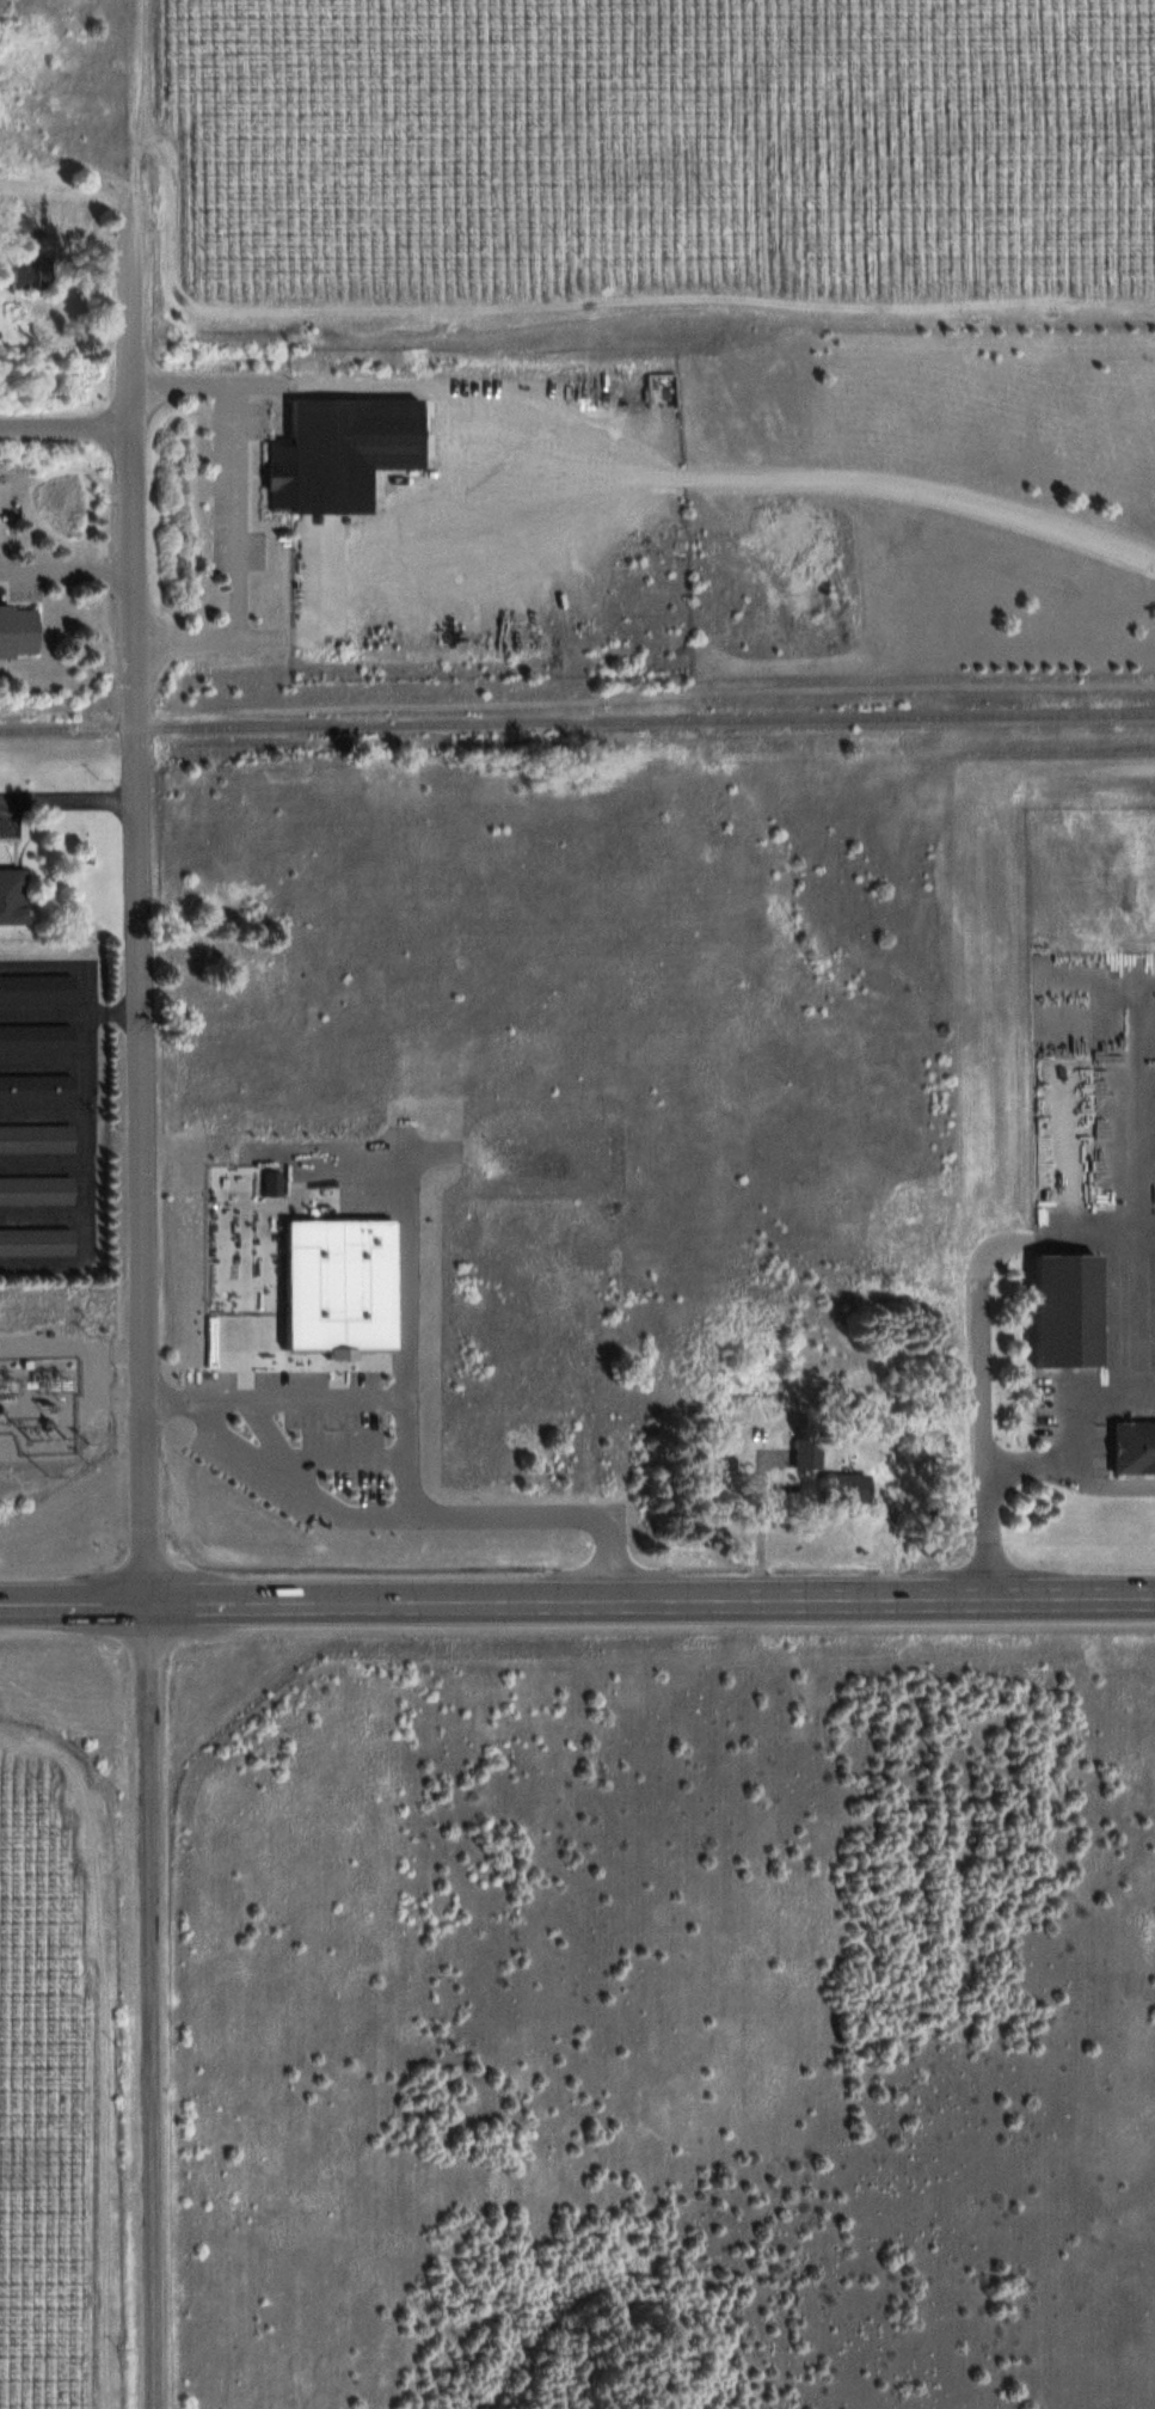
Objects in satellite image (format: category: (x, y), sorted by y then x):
building: (13, 226)
building: (29, 275)
road: (331, 382)
building: (666, 390)
road: (70, 424)
building: (339, 452)
road: (140, 477)
road: (246, 509)
building: (18, 630)
road: (219, 636)
railway: (577, 722)
road: (69, 797)
building: (12, 895)
building: (236, 971)
building: (35, 988)
road: (70, 1011)
building: (35, 1038)
road: (45, 1061)
building: (35, 1089)
road: (45, 1110)
road: (92, 1112)
building: (36, 1138)
road: (47, 1161)
road: (145, 1176)
building: (36, 1189)
road: (1137, 1197)
road: (47, 1214)
building: (36, 1240)
building: (1063, 1310)
road: (985, 1350)
road: (1076, 1391)
power substation: (16, 1393)
road: (282, 1397)
building: (1134, 1445)
building: (806, 1451)
road: (1073, 1470)
road: (413, 1471)
building: (842, 1485)
road: (312, 1489)
road: (577, 1602)
road: (158, 2006)

